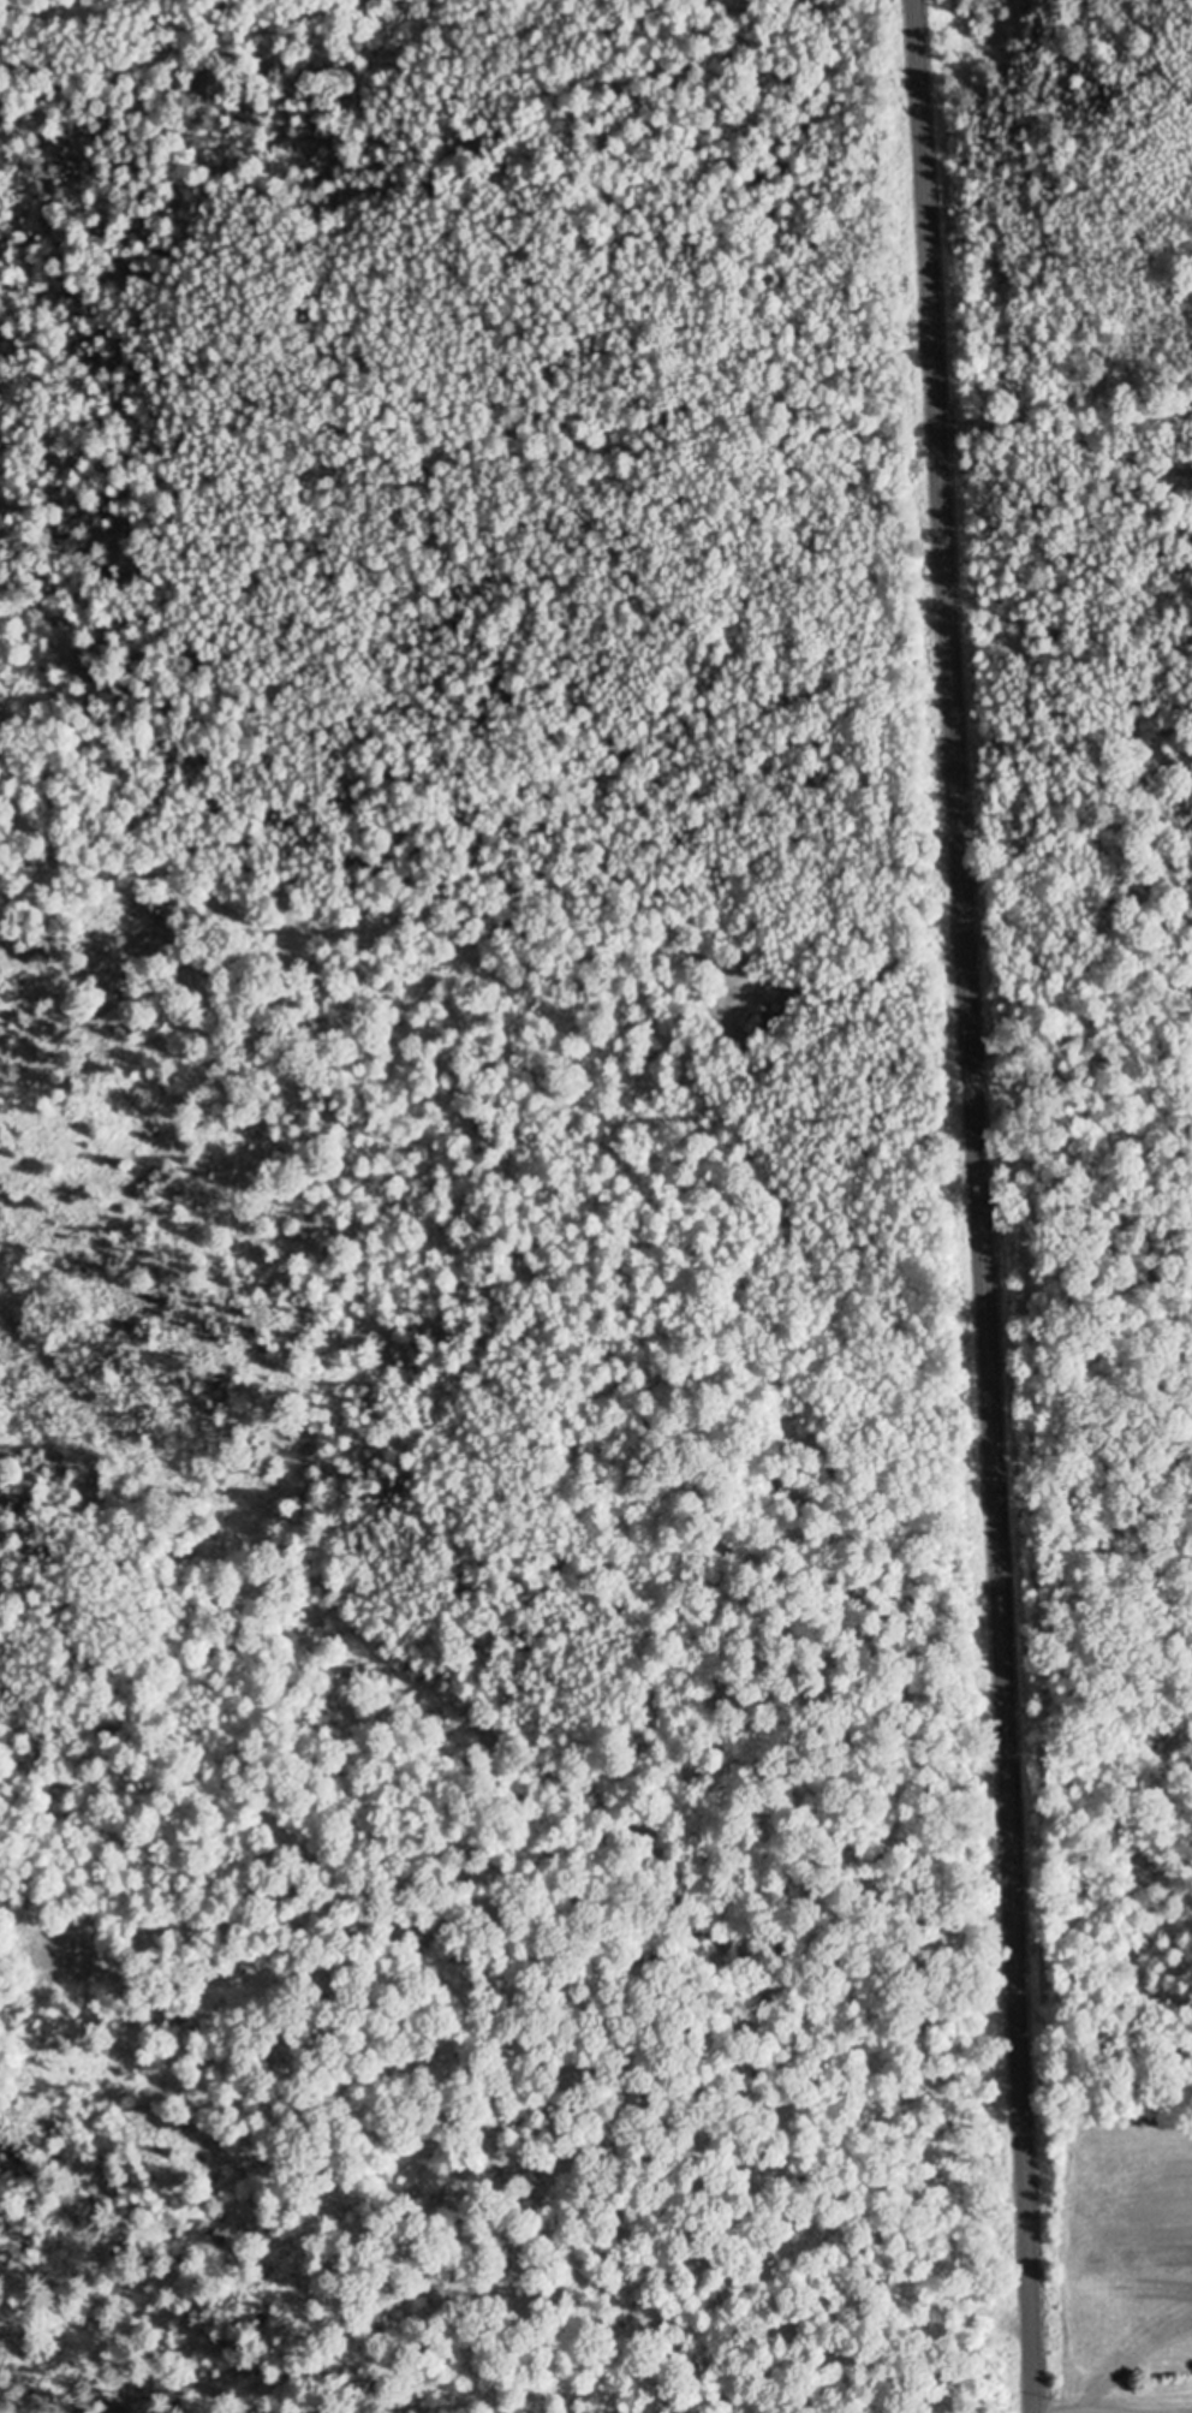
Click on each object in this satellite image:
road: (1068, 438)
road: (981, 1206)
road: (1116, 2409)

